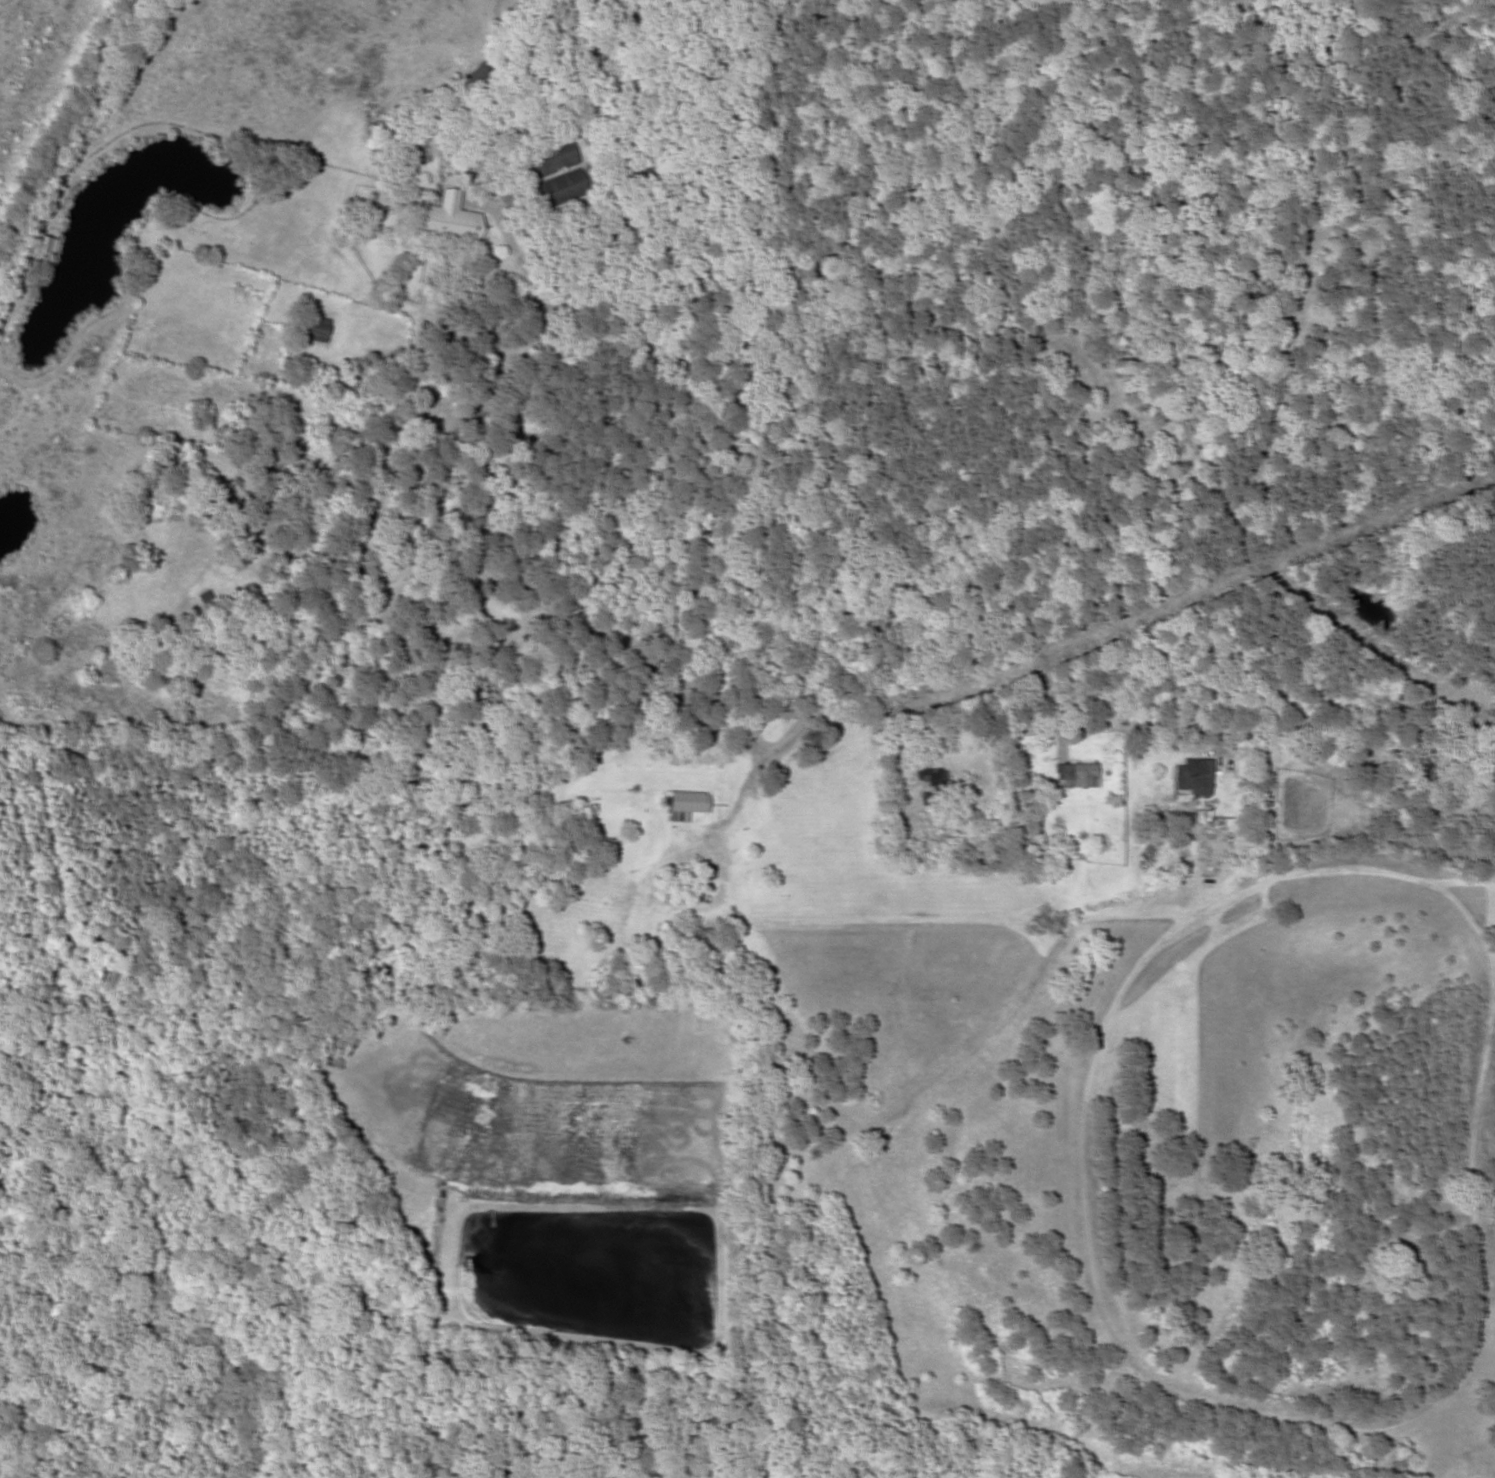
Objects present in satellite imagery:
building: (482, 78)
building: (550, 159)
building: (560, 189)
building: (448, 221)
building: (43, 246)
building: (312, 328)
building: (235, 488)
road: (1104, 729)
building: (1426, 765)
building: (1076, 775)
building: (1193, 777)
building: (930, 782)
building: (685, 805)
building: (700, 939)

